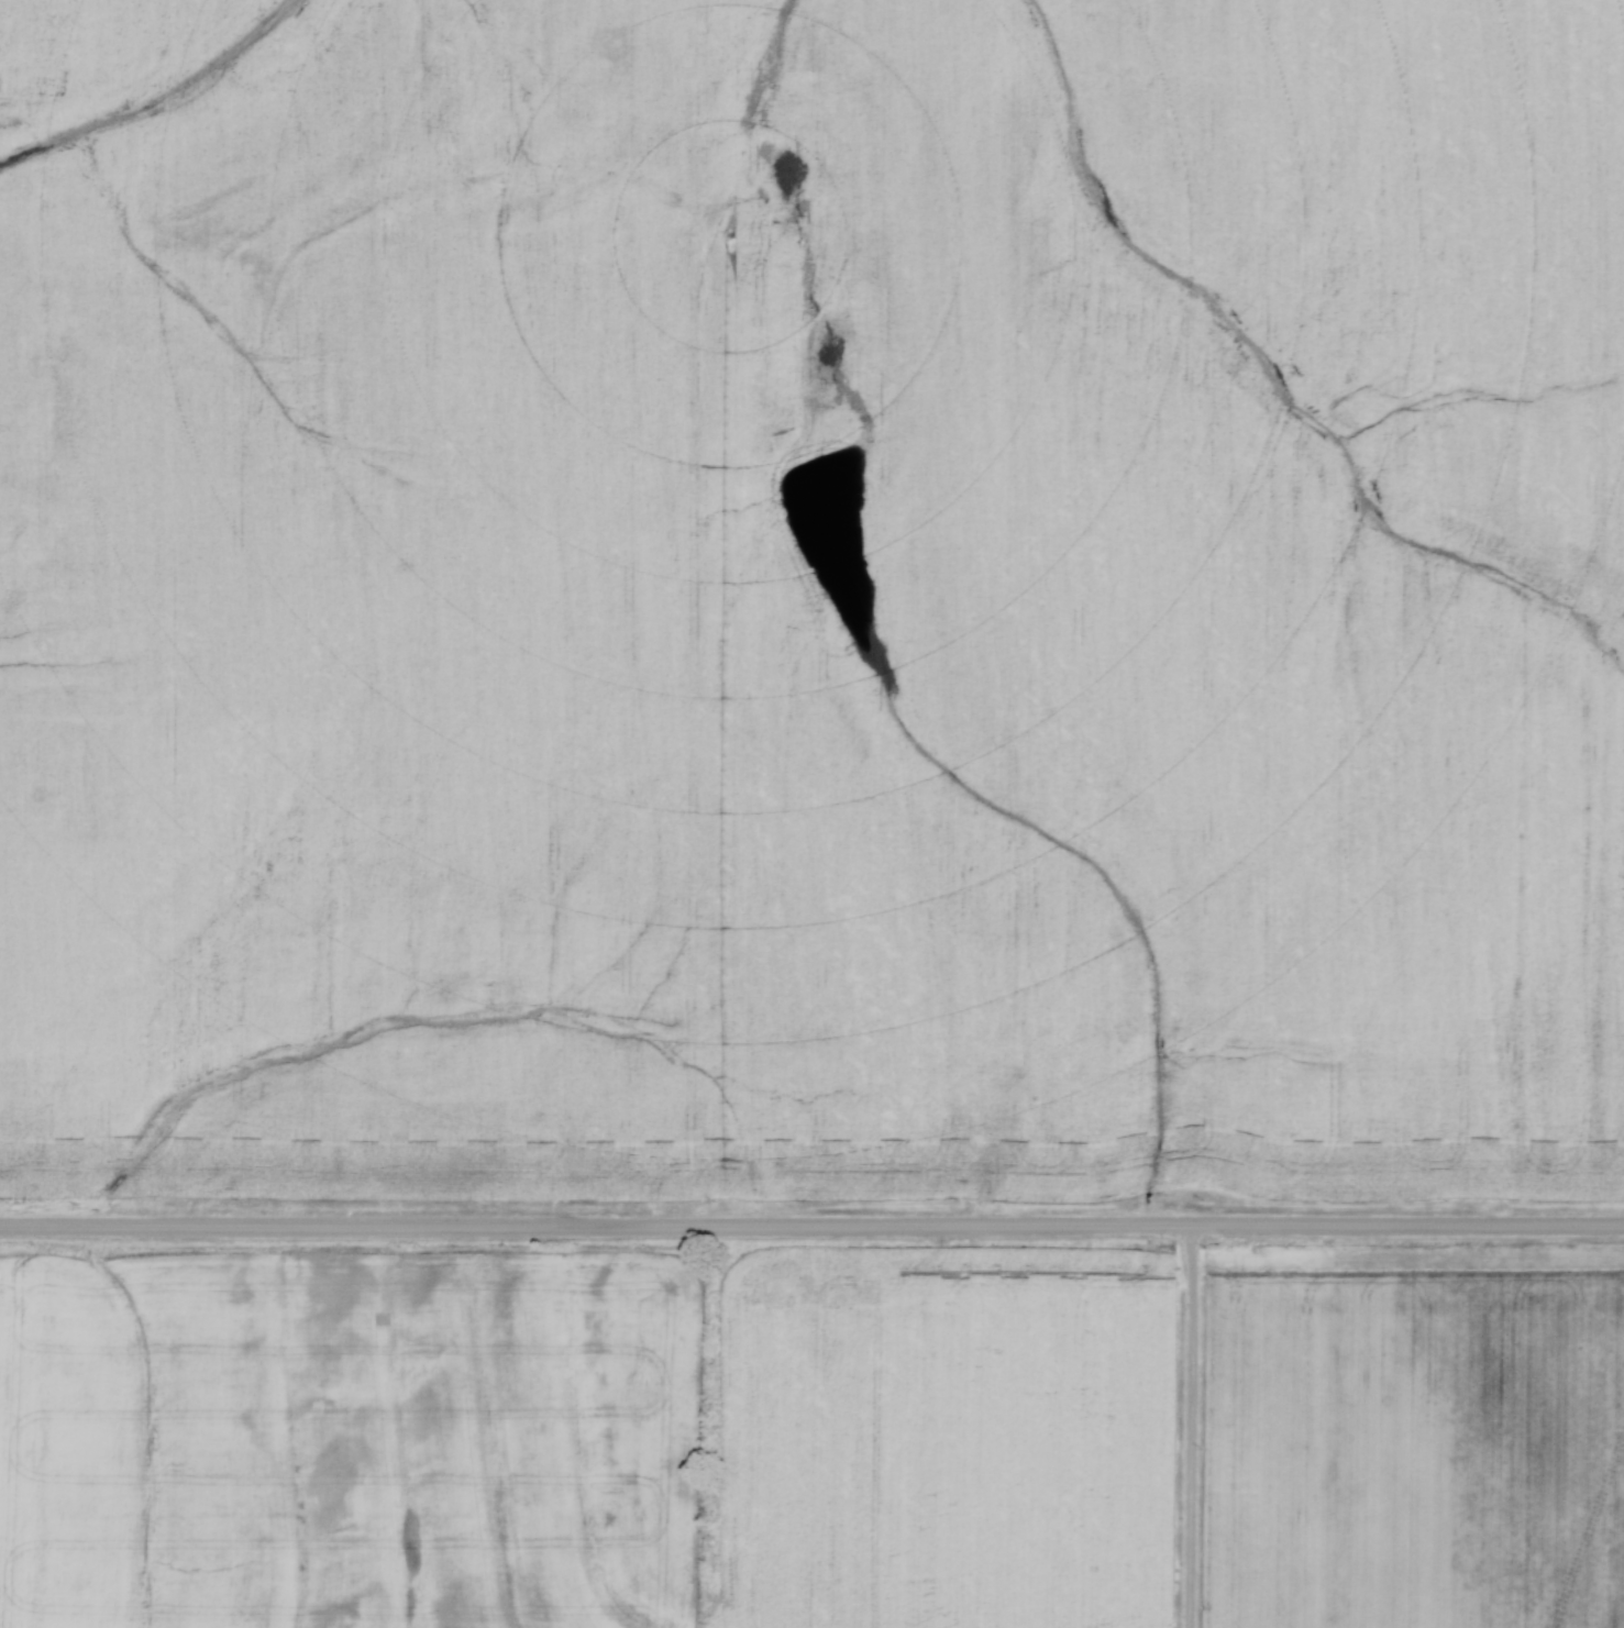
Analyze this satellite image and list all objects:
road: (811, 1229)
road: (1194, 1427)

